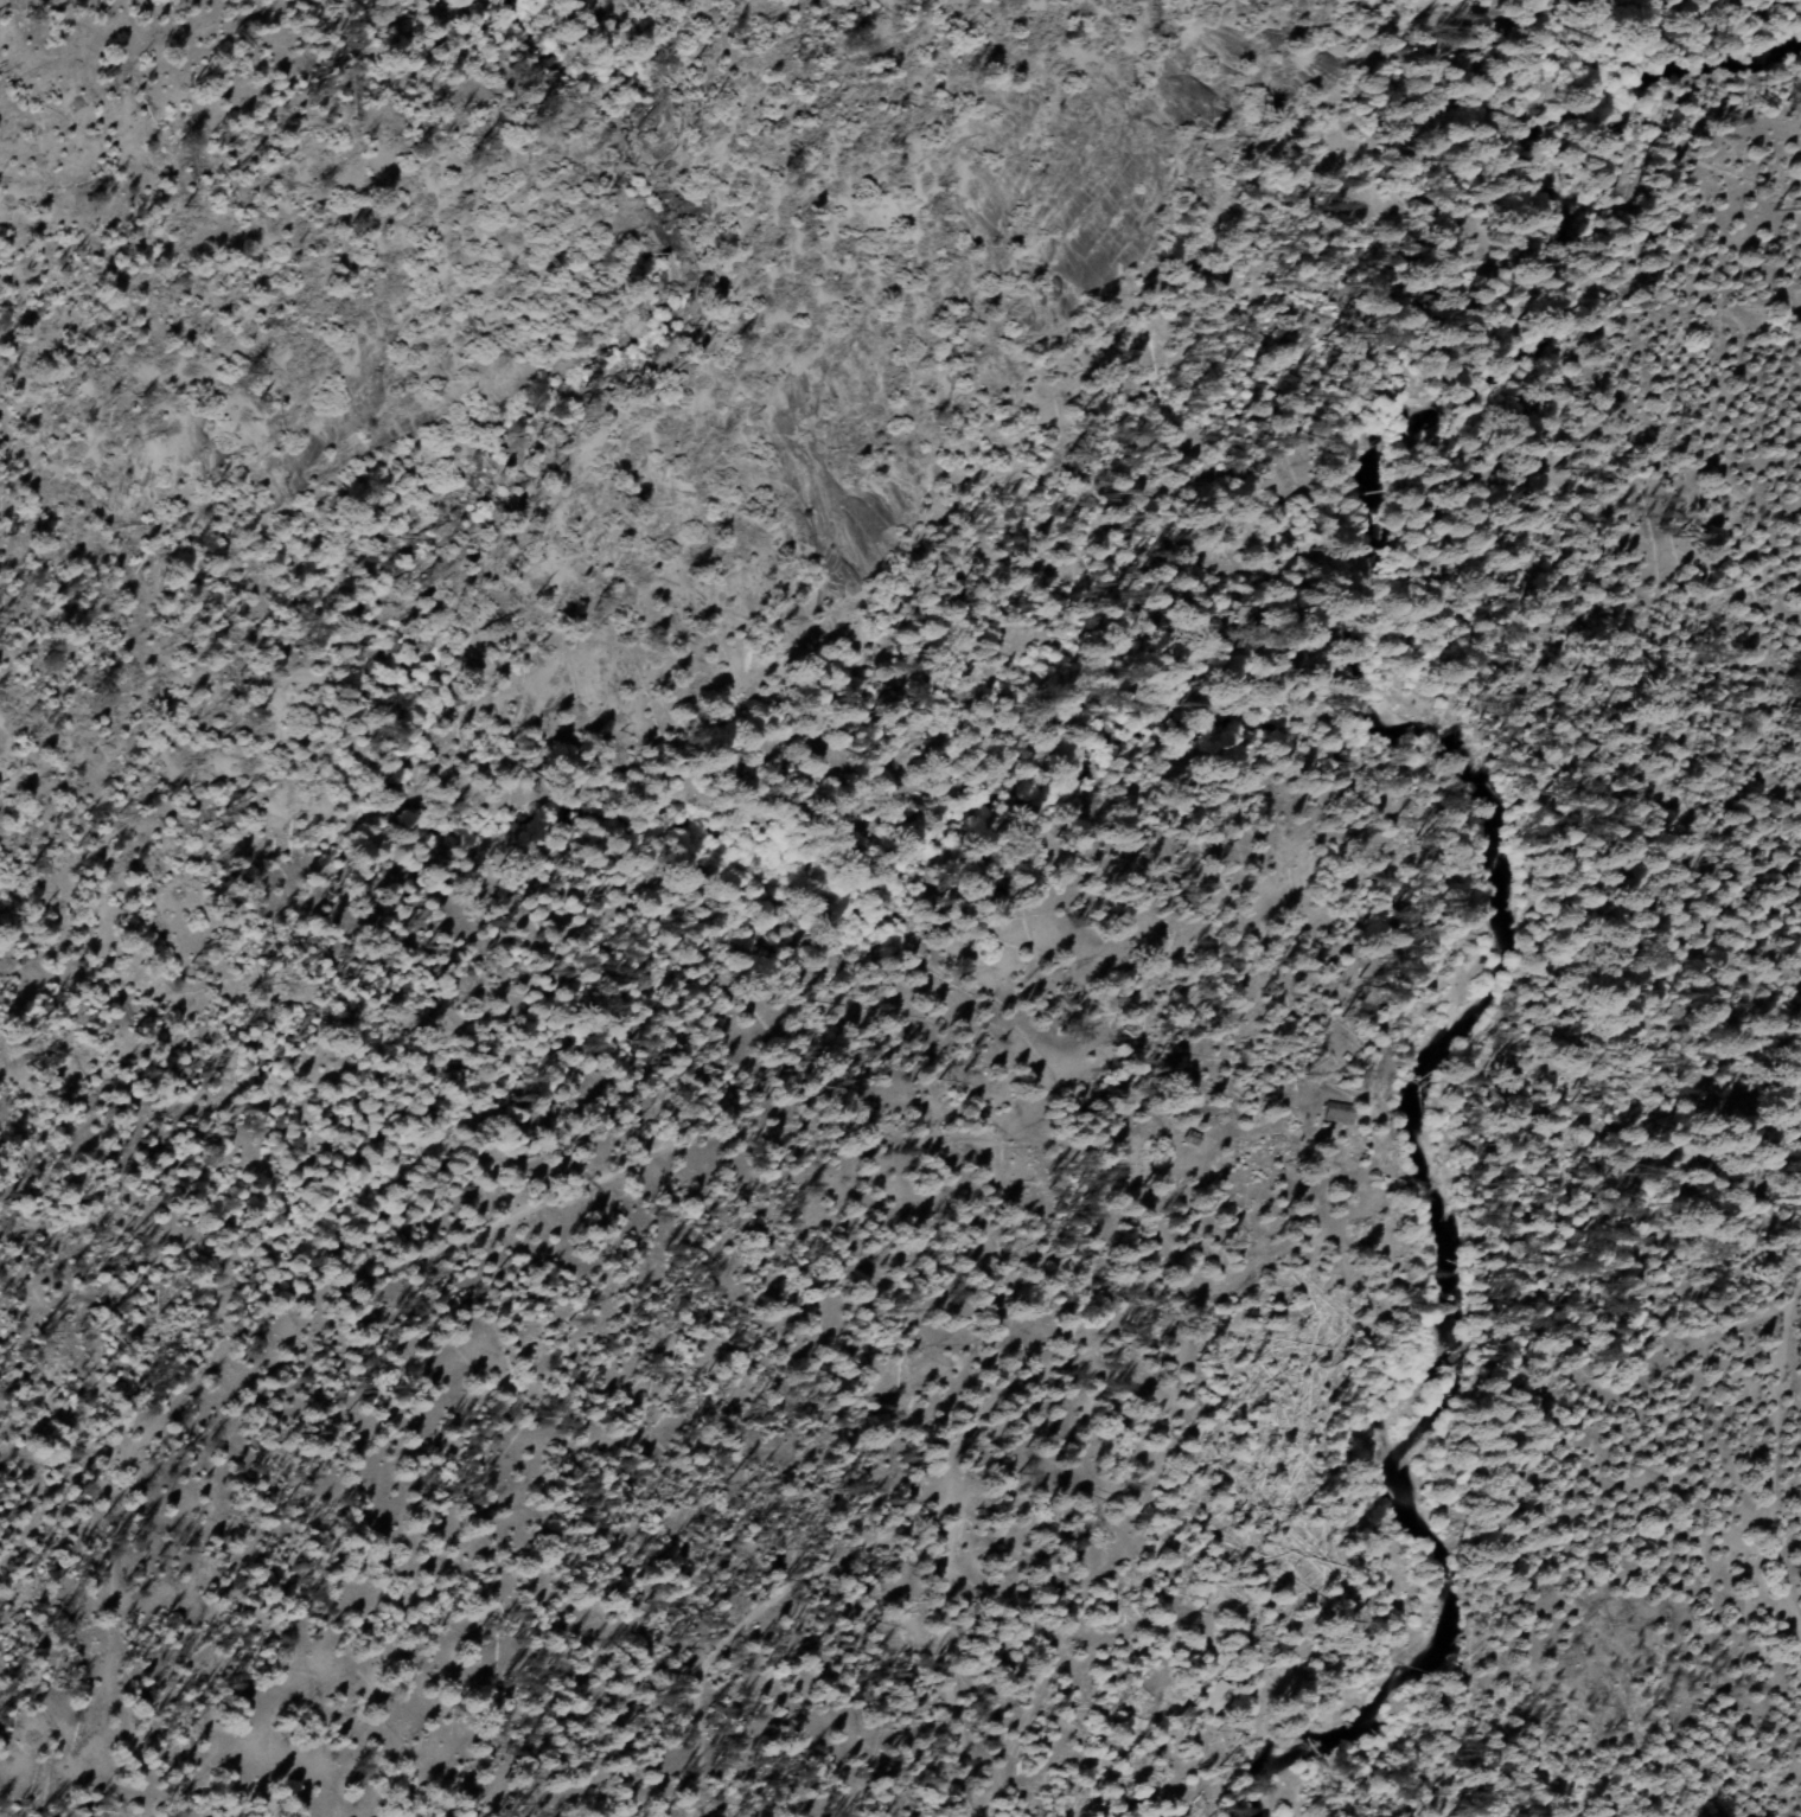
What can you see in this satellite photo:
building: (1192, 1135)
road: (1110, 1444)
road: (1776, 1490)

